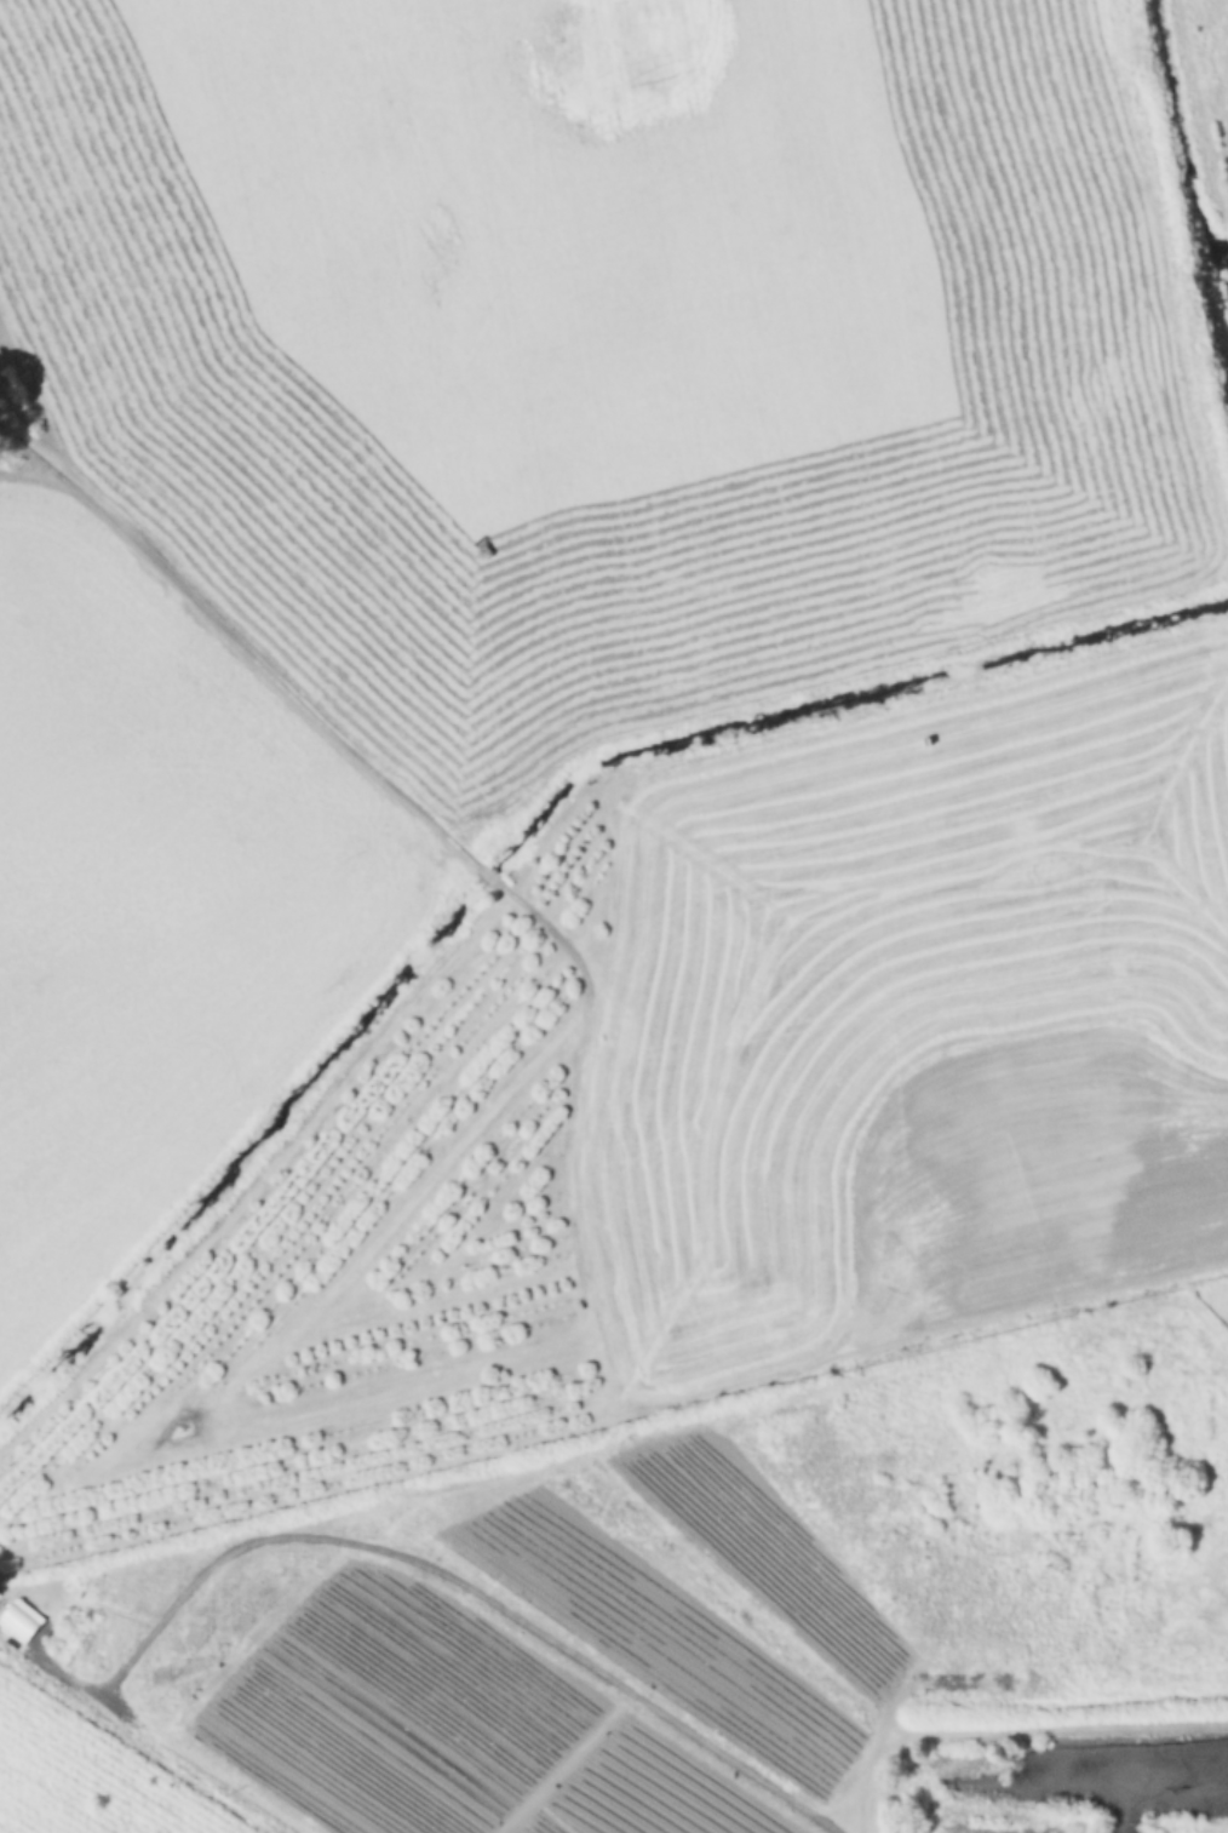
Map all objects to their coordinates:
crop: (608, 337)
crop: (153, 895)
crop: (912, 1023)
road: (349, 1545)

